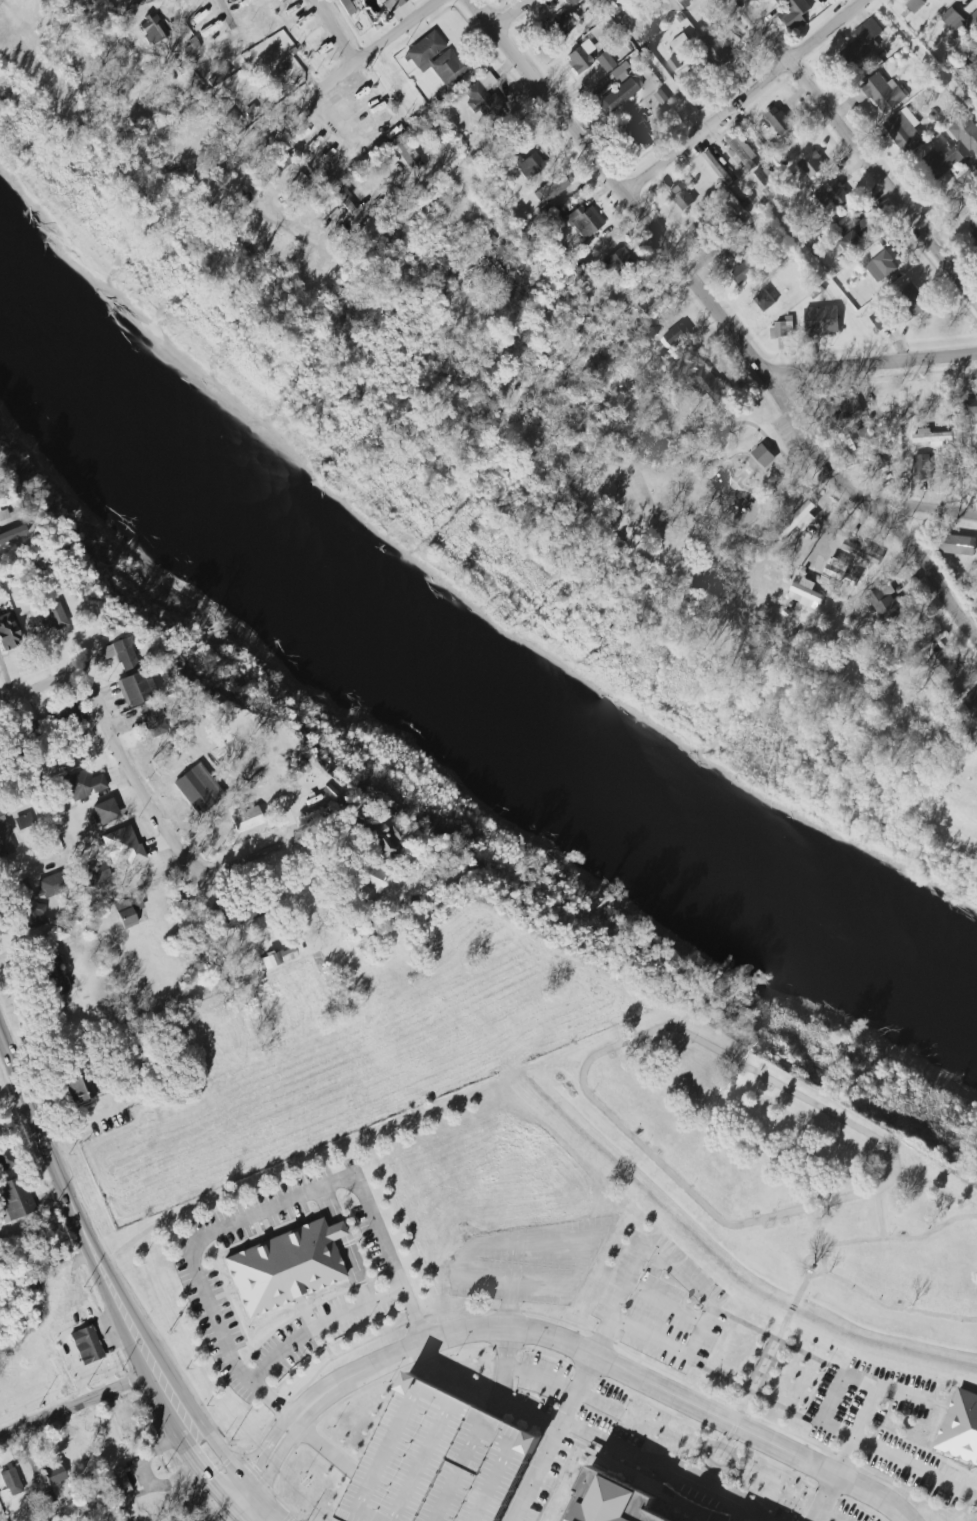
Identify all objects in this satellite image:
building: (378, 0)
building: (939, 0)
building: (571, 2)
building: (681, 2)
building: (391, 4)
building: (915, 5)
building: (347, 7)
building: (796, 7)
road: (509, 15)
building: (959, 21)
building: (556, 26)
building: (152, 29)
road: (335, 29)
building: (866, 38)
building: (681, 43)
building: (190, 46)
building: (716, 49)
building: (579, 57)
building: (436, 58)
building: (604, 62)
building: (675, 63)
road: (654, 65)
building: (619, 71)
building: (884, 93)
building: (618, 94)
building: (482, 97)
building: (662, 97)
road: (746, 98)
building: (251, 112)
building: (233, 121)
building: (779, 121)
building: (635, 131)
building: (904, 132)
building: (966, 132)
building: (743, 150)
road: (859, 151)
building: (407, 154)
building: (946, 160)
road: (734, 162)
building: (278, 163)
building: (526, 163)
building: (813, 164)
building: (718, 168)
building: (770, 182)
building: (299, 183)
building: (551, 186)
building: (683, 194)
building: (830, 196)
road: (948, 204)
building: (741, 207)
building: (846, 218)
building: (584, 221)
building: (708, 221)
building: (973, 223)
road: (288, 225)
building: (490, 236)
building: (857, 236)
building: (738, 249)
building: (467, 252)
building: (615, 261)
building: (884, 265)
building: (745, 270)
building: (766, 295)
building: (913, 300)
building: (647, 302)
building: (881, 319)
building: (822, 320)
road: (726, 321)
building: (783, 328)
building: (675, 336)
road: (870, 364)
building: (709, 383)
building: (971, 406)
building: (844, 409)
parking lot: (792, 436)
building: (932, 437)
building: (859, 439)
road: (722, 448)
building: (764, 455)
road: (788, 456)
building: (877, 464)
building: (923, 466)
road: (747, 473)
road: (678, 484)
park: (636, 499)
road: (723, 503)
road: (930, 512)
building: (3, 515)
building: (799, 520)
building: (957, 544)
building: (862, 552)
building: (841, 572)
building: (806, 591)
building: (887, 604)
building: (52, 620)
building: (7, 633)
river: (466, 661)
building: (945, 665)
building: (125, 670)
road: (56, 683)
building: (971, 702)
building: (64, 716)
building: (153, 719)
building: (82, 784)
building: (254, 784)
building: (195, 791)
building: (105, 812)
building: (252, 817)
building: (24, 821)
building: (4, 827)
building: (380, 841)
building: (122, 846)
road: (187, 864)
building: (95, 873)
road: (22, 875)
building: (366, 882)
building: (52, 885)
building: (127, 911)
building: (35, 916)
building: (281, 956)
road: (721, 1051)
building: (78, 1090)
road: (16, 1112)
building: (6, 1159)
building: (16, 1199)
road: (259, 1212)
road: (880, 1214)
road: (265, 1221)
road: (84, 1234)
road: (897, 1238)
road: (353, 1242)
road: (343, 1245)
road: (594, 1247)
road: (214, 1254)
road: (812, 1256)
parking lot: (526, 1264)
building: (283, 1268)
road: (331, 1296)
road: (216, 1297)
road: (510, 1303)
parking lot: (662, 1304)
road: (665, 1304)
road: (793, 1307)
road: (895, 1307)
road: (319, 1325)
road: (701, 1330)
road: (319, 1334)
road: (778, 1340)
building: (83, 1347)
road: (769, 1356)
road: (606, 1360)
road: (758, 1362)
road: (652, 1363)
road: (770, 1368)
road: (505, 1371)
road: (632, 1374)
road: (760, 1374)
road: (841, 1381)
road: (579, 1383)
road: (567, 1386)
road: (753, 1393)
parking lot: (576, 1396)
road: (77, 1404)
road: (529, 1414)
road: (739, 1416)
road: (698, 1426)
building: (961, 1427)
road: (858, 1429)
parking lot: (886, 1429)
road: (226, 1458)
road: (248, 1458)
road: (899, 1459)
building: (439, 1461)
road: (668, 1462)
road: (259, 1464)
road: (270, 1469)
parking lot: (480, 1471)
road: (142, 1472)
building: (54, 1476)
road: (205, 1478)
parking lot: (551, 1480)
building: (11, 1482)
building: (620, 1502)
road: (273, 1508)
road: (966, 1508)
parking lot: (855, 1511)
road: (829, 1515)

